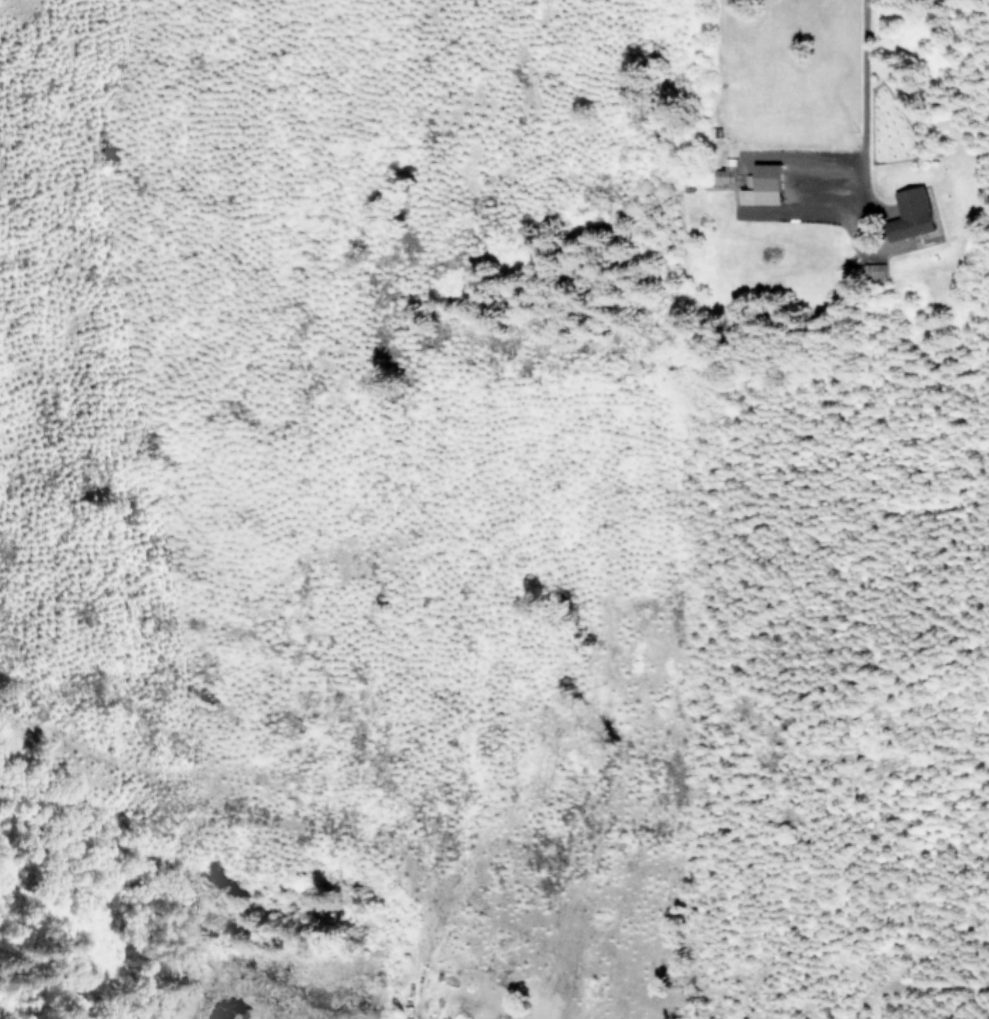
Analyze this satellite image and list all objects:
road: (862, 84)
building: (763, 184)

